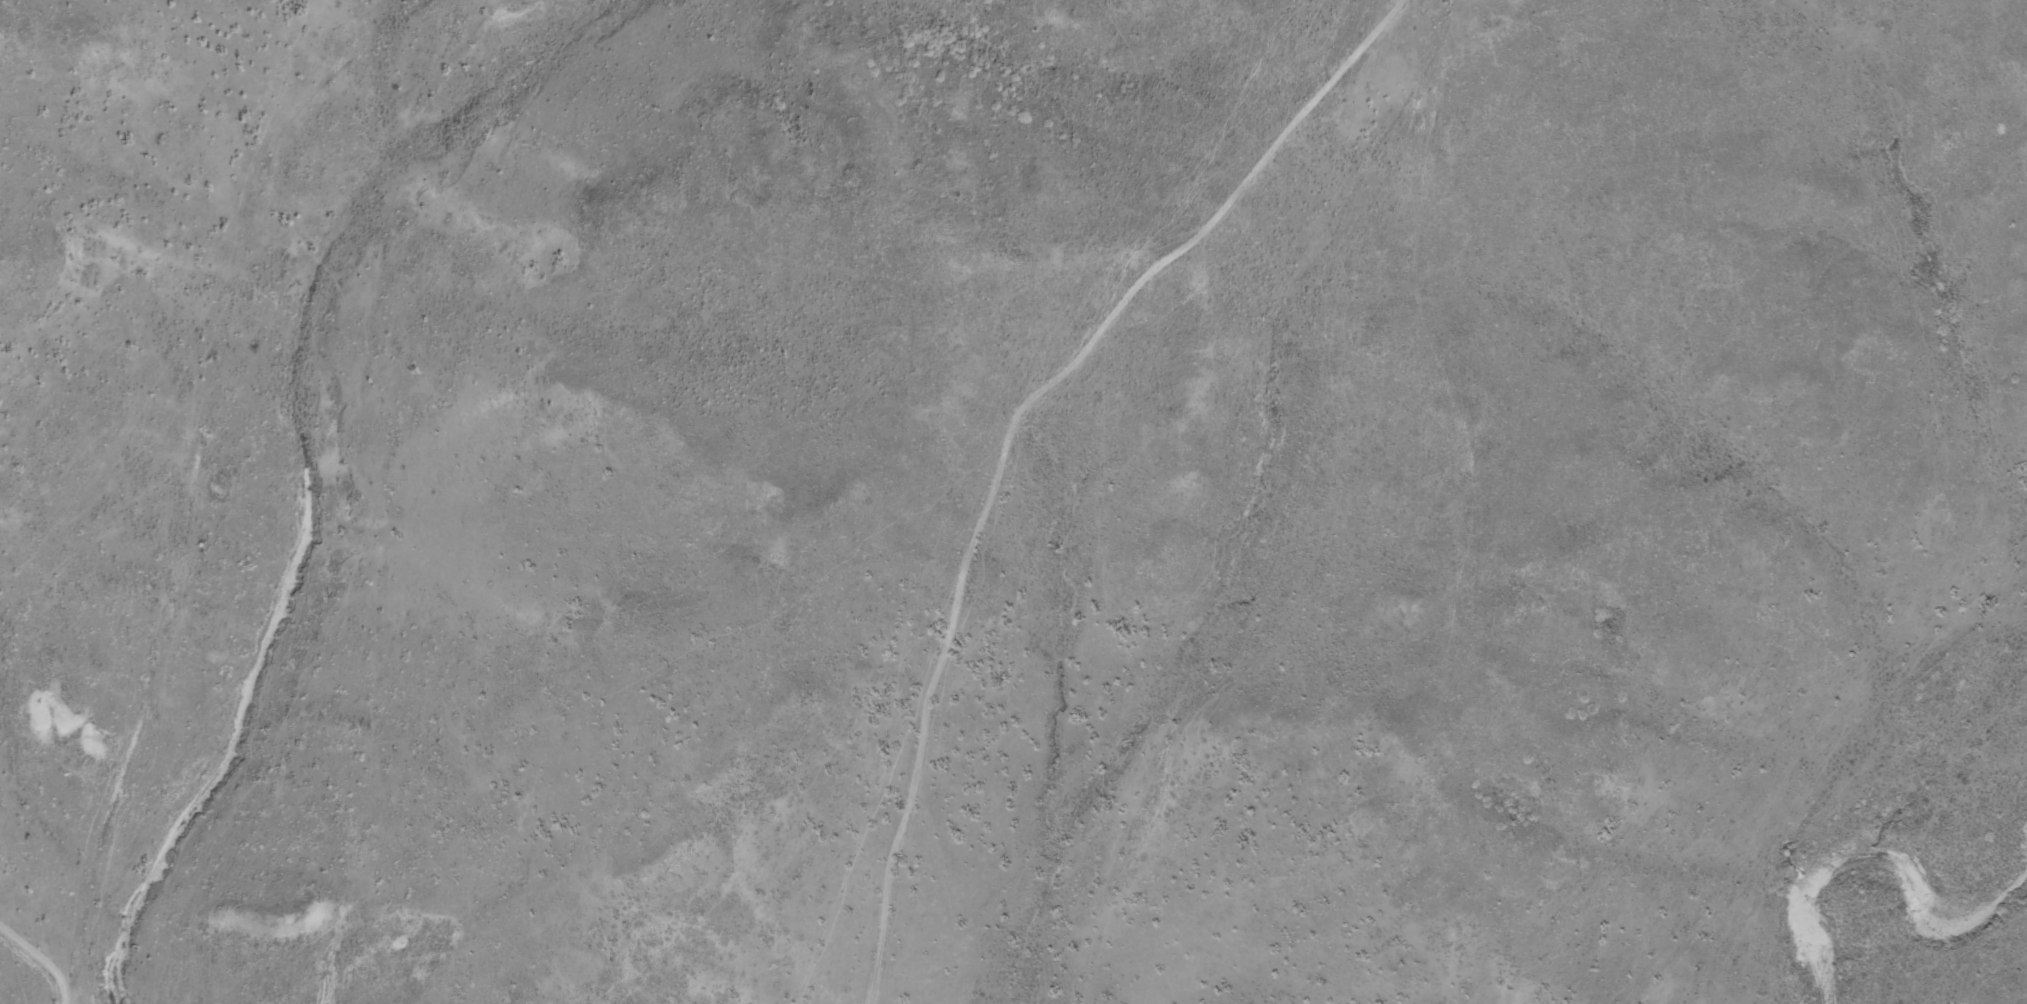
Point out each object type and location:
road: (169, 494)

